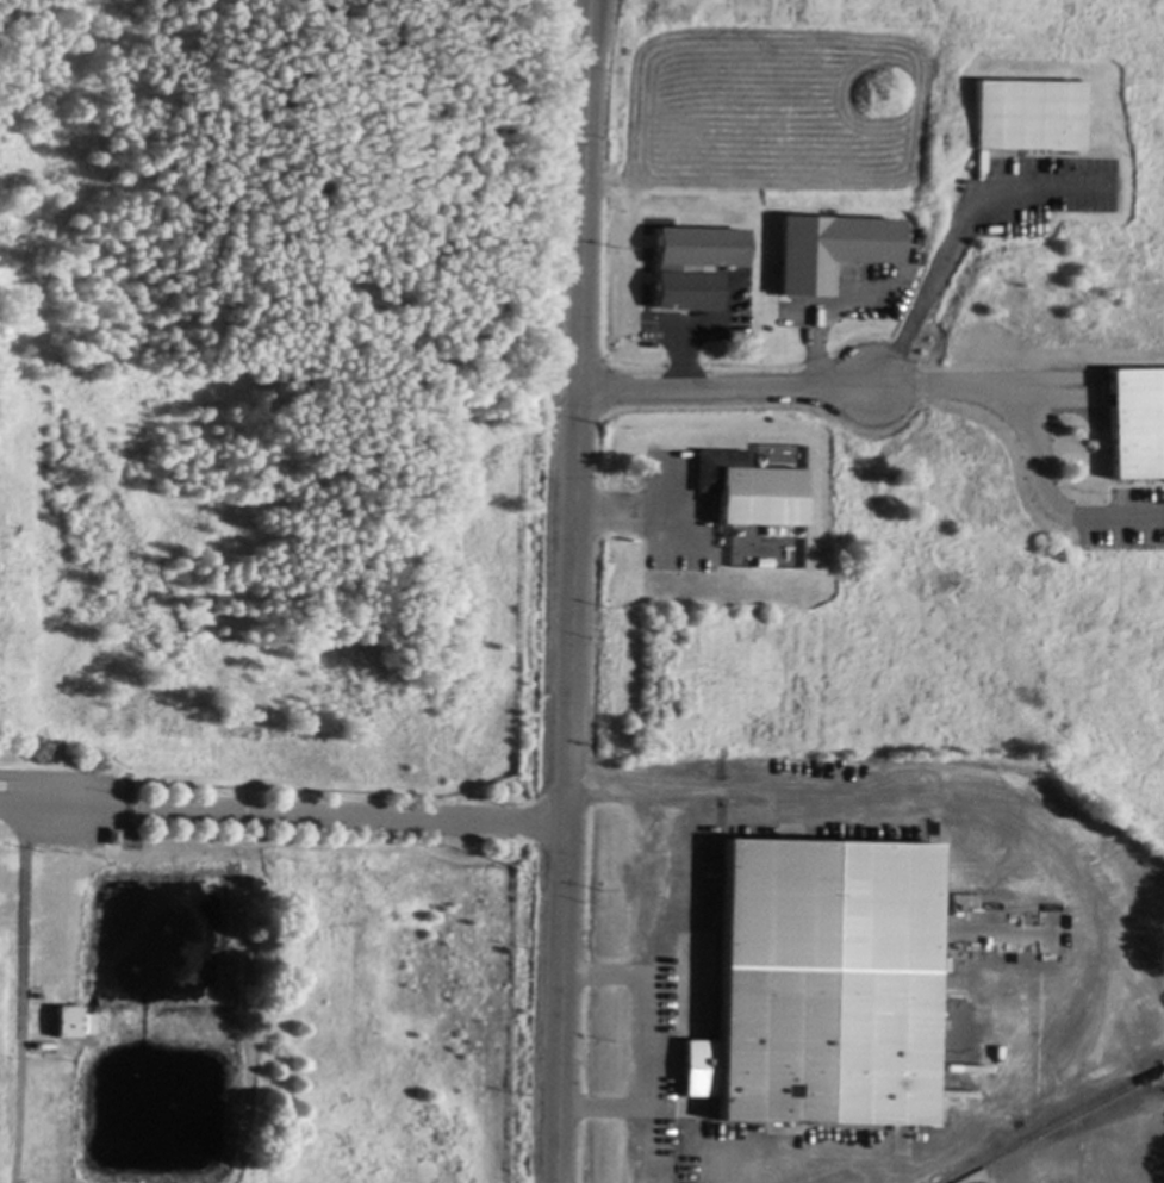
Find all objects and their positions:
building: (1027, 118)
road: (948, 236)
building: (829, 251)
building: (692, 267)
road: (826, 309)
road: (698, 330)
road: (726, 388)
building: (1135, 425)
road: (1031, 434)
building: (751, 492)
road: (646, 513)
road: (574, 591)
road: (284, 821)
building: (113, 839)
road: (1075, 879)
road: (658, 892)
building: (822, 986)
building: (73, 1025)
road: (651, 1089)
railway: (1054, 1127)
road: (648, 1147)

